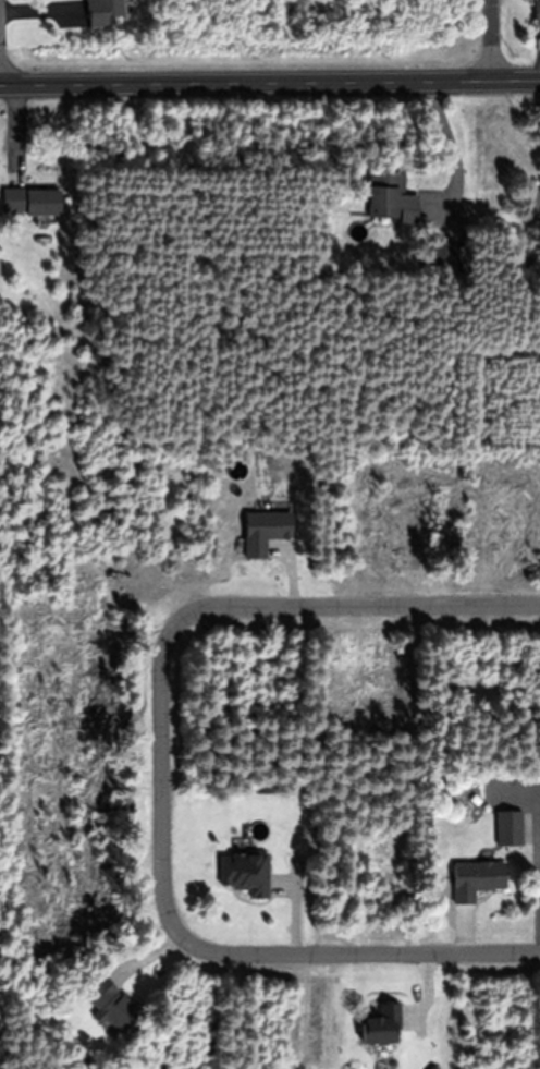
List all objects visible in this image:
building: (537, 11)
building: (103, 12)
road: (489, 40)
road: (269, 83)
building: (391, 197)
building: (32, 201)
building: (533, 202)
building: (265, 531)
road: (347, 607)
road: (161, 786)
building: (508, 827)
building: (245, 872)
building: (476, 879)
road: (353, 953)
building: (110, 1006)
building: (382, 1025)

